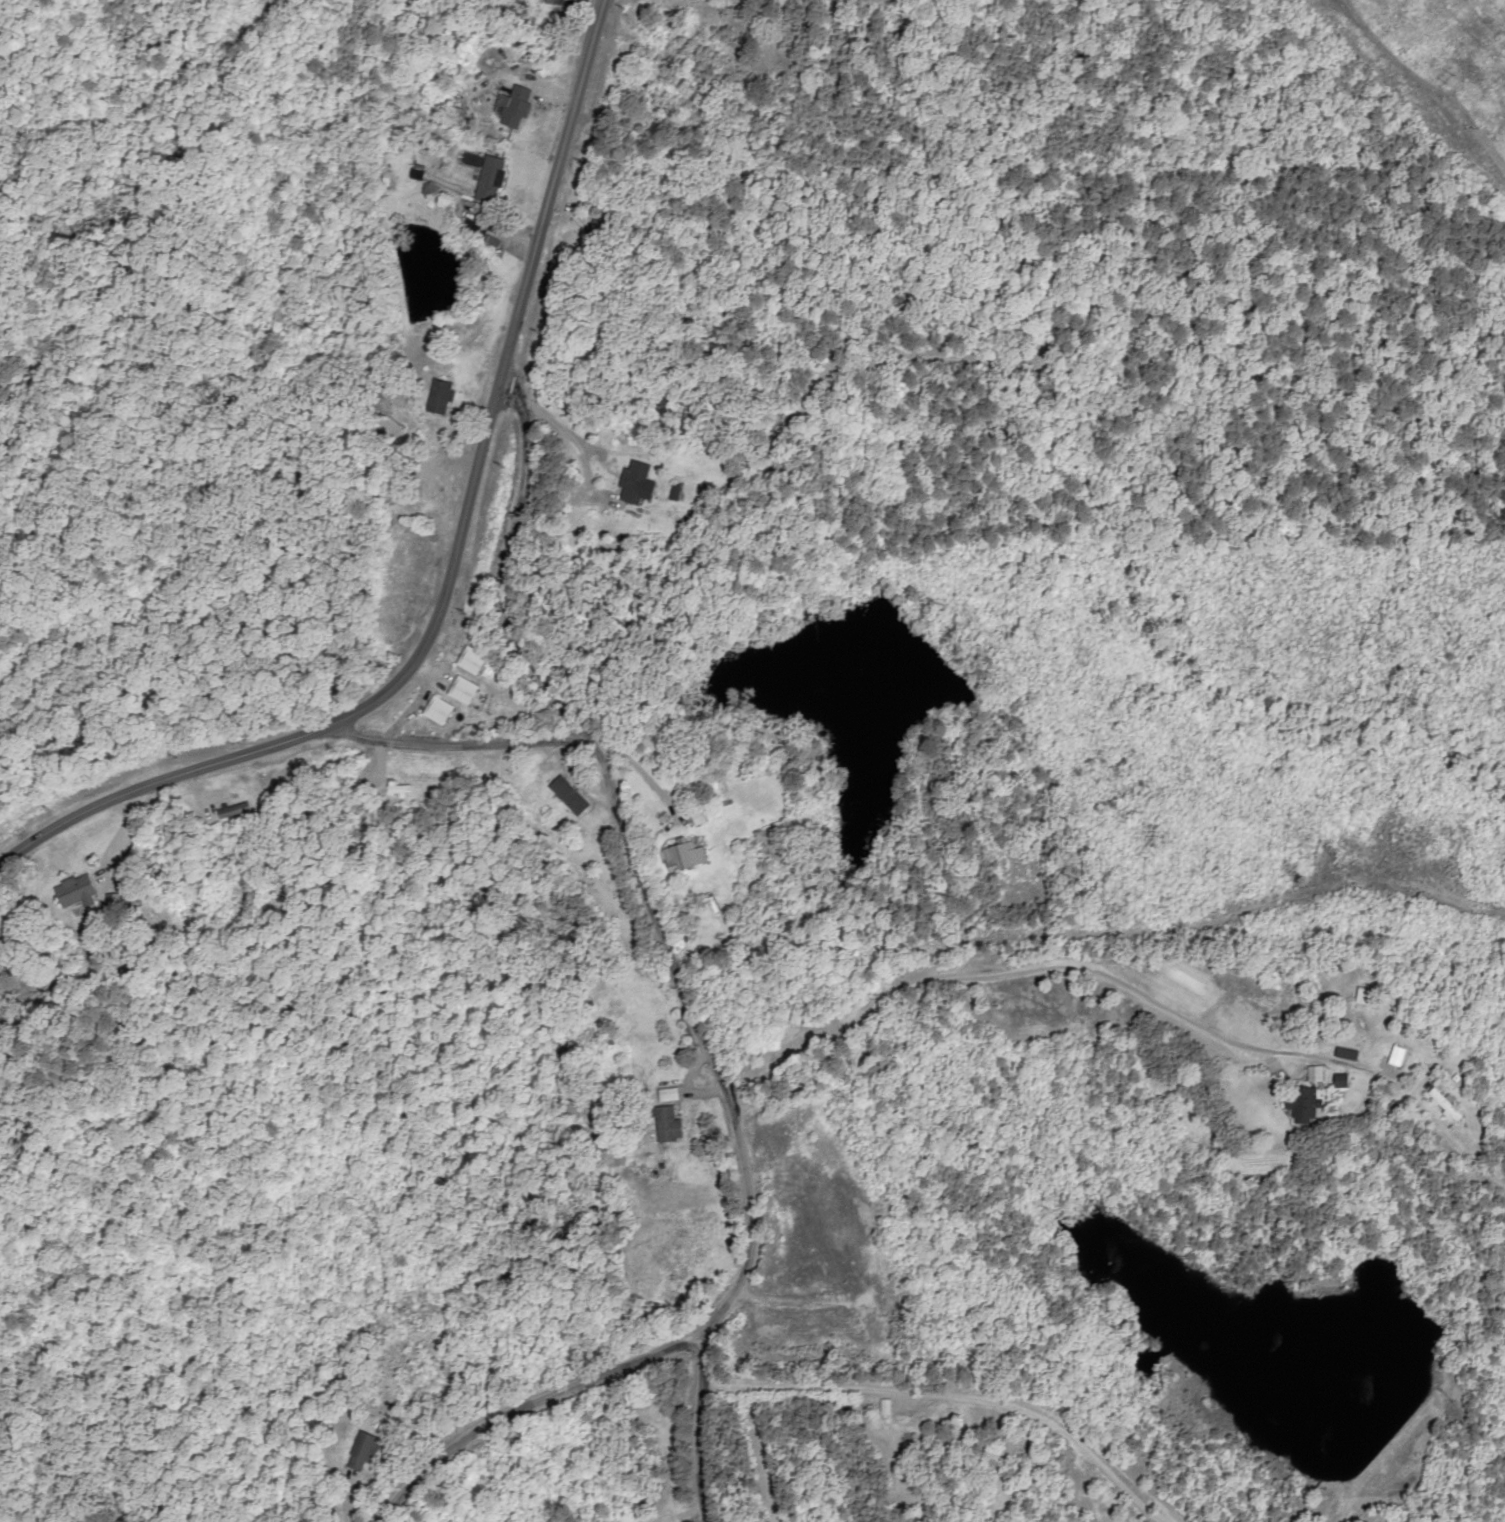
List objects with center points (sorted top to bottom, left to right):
building: (553, 2)
power tower: (1452, 77)
building: (514, 107)
building: (490, 180)
building: (439, 397)
building: (632, 482)
road: (459, 563)
building: (416, 574)
building: (470, 660)
building: (462, 690)
building: (437, 711)
road: (459, 742)
building: (396, 787)
building: (568, 795)
building: (233, 810)
building: (684, 856)
building: (74, 890)
road: (672, 933)
building: (1340, 1080)
building: (1301, 1104)
building: (1444, 1104)
building: (666, 1123)
building: (884, 1406)
building: (898, 1427)
road: (547, 1429)
building: (362, 1451)

